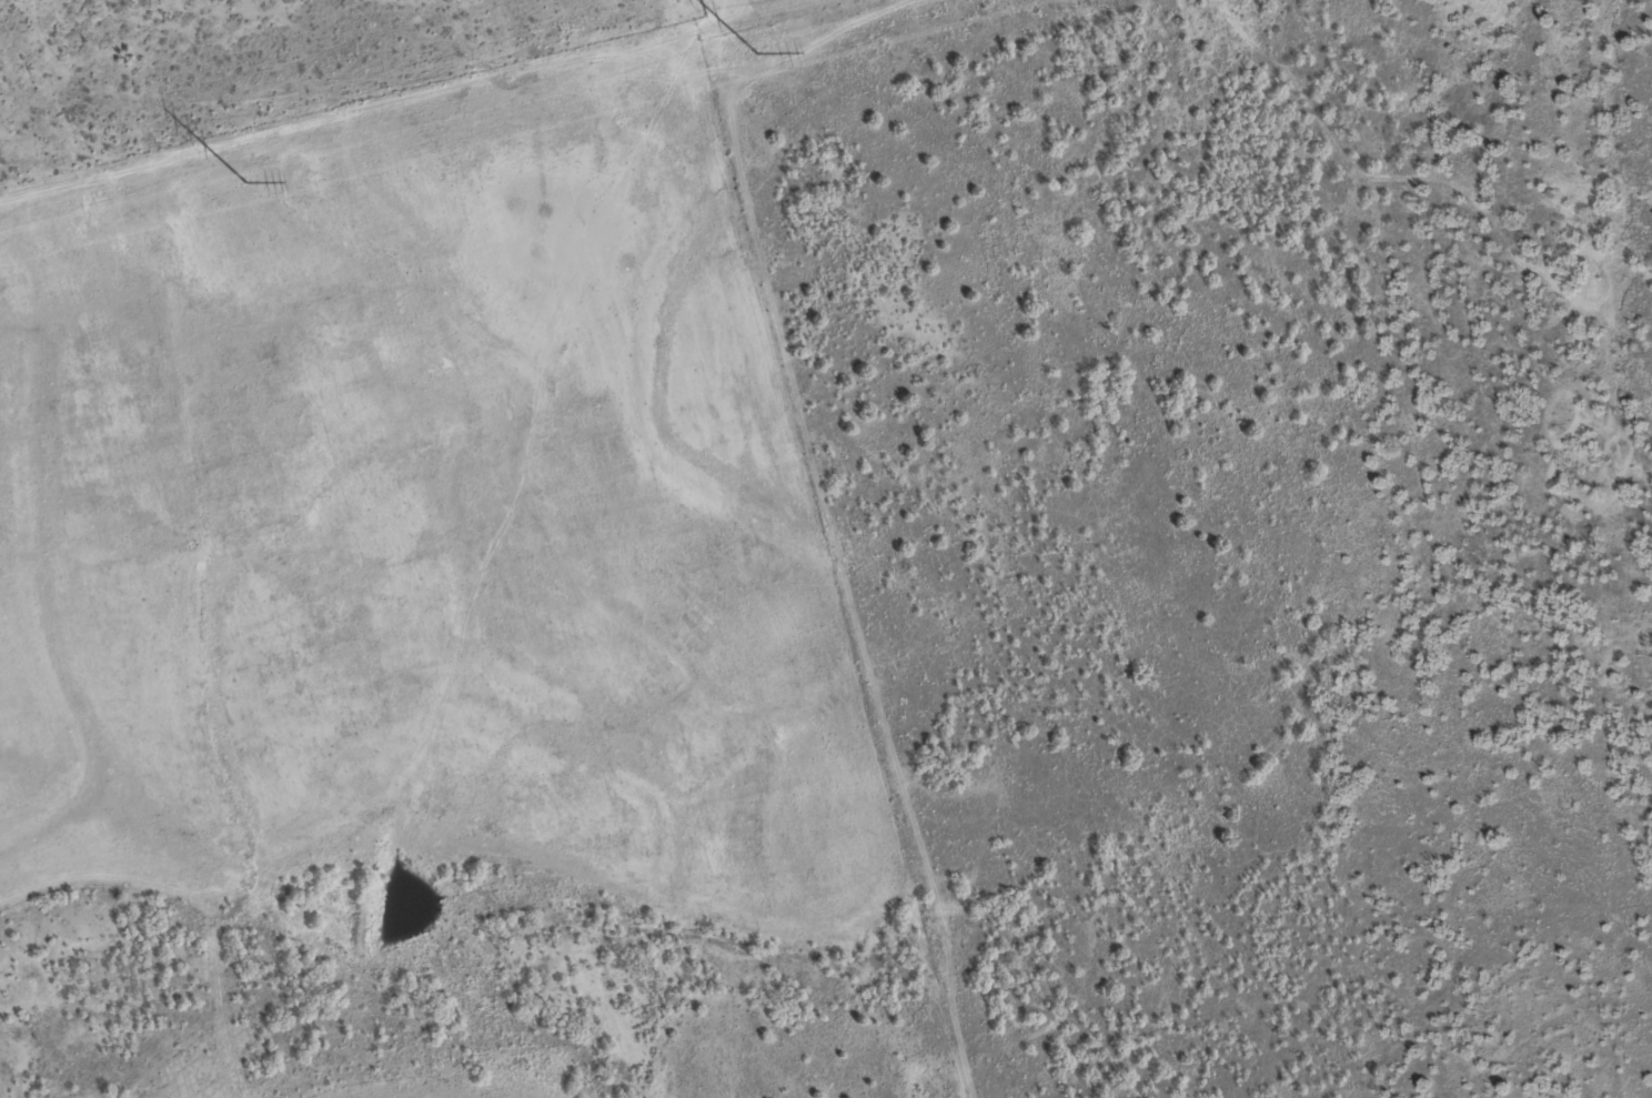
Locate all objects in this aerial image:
power tower: (756, 53)
power tower: (245, 182)

